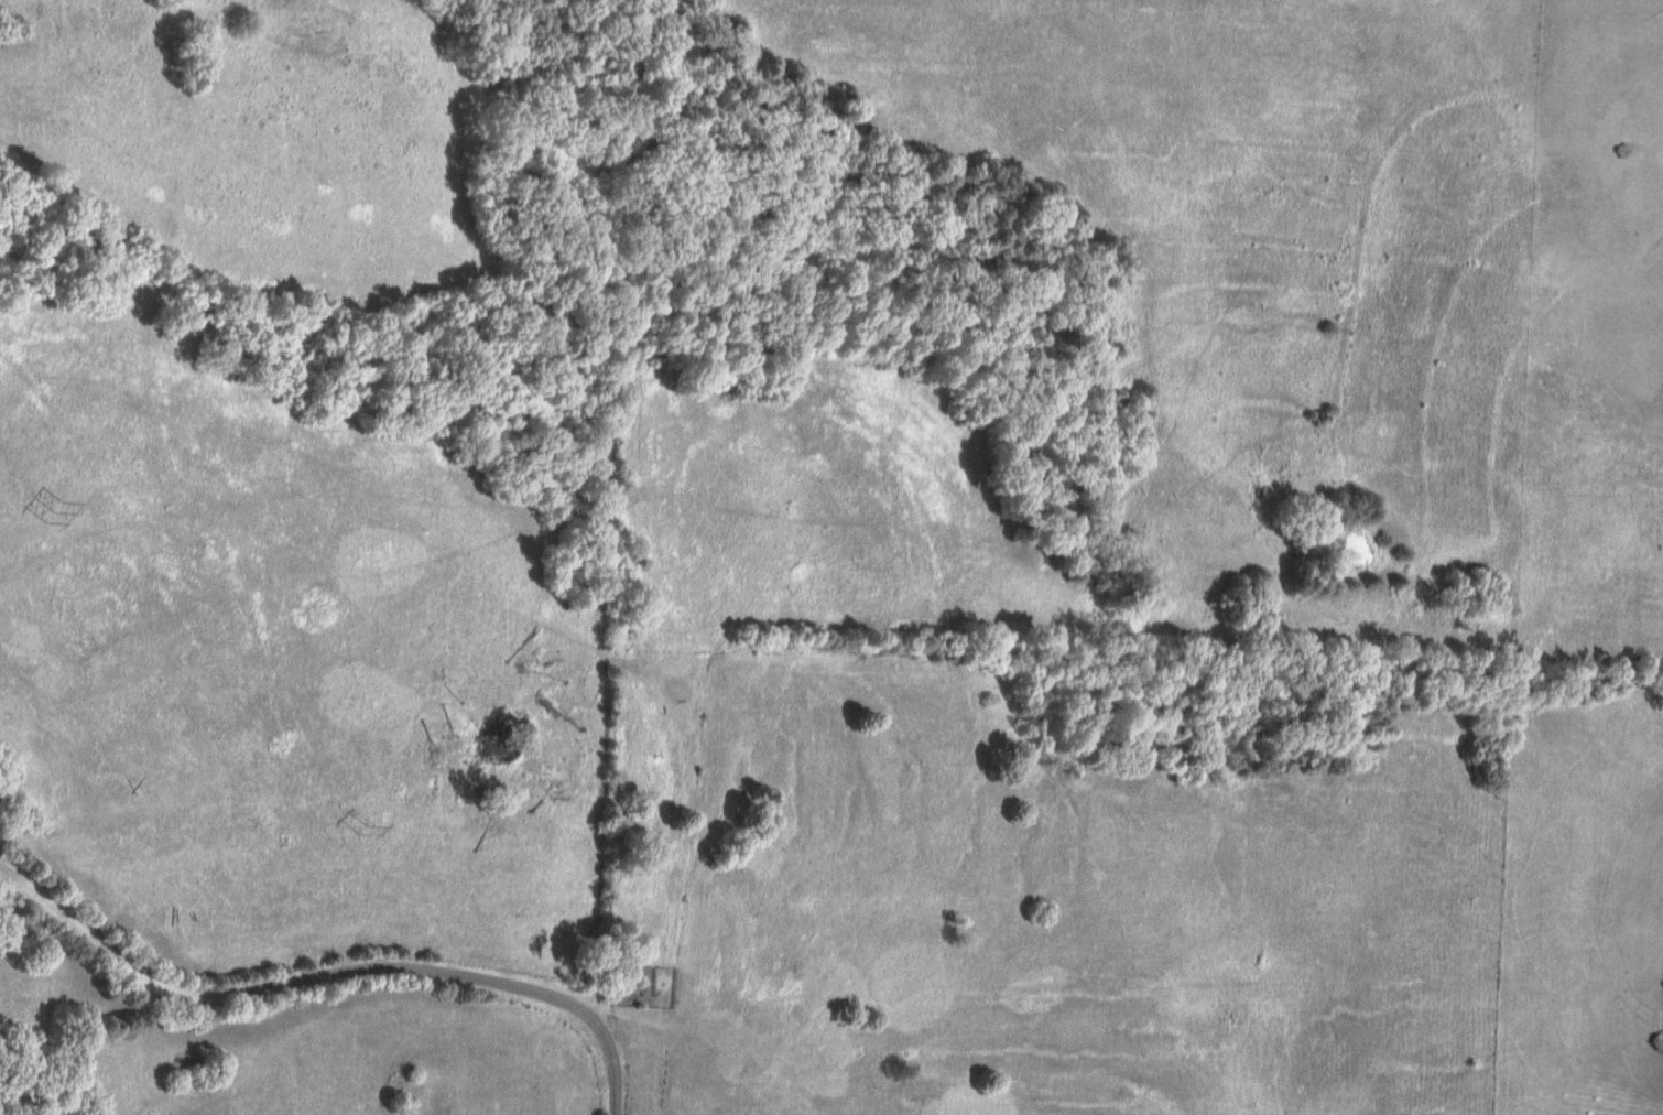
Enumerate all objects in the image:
road: (333, 963)

